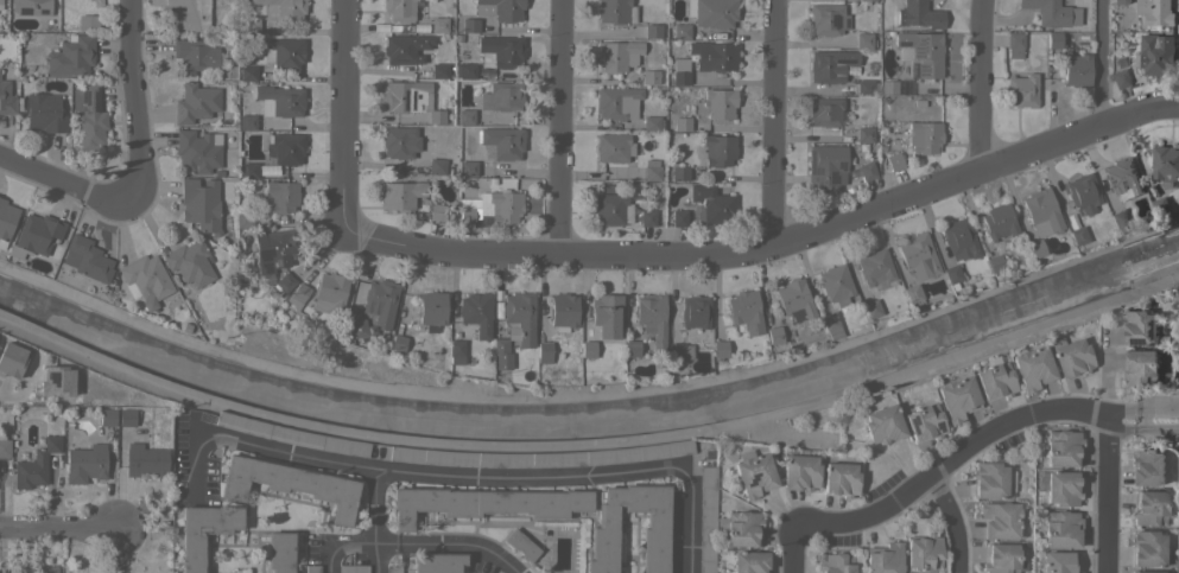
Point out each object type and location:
building: (869, 0)
building: (1121, 1)
building: (0, 5)
building: (31, 7)
building: (500, 8)
building: (283, 9)
building: (399, 9)
rooftop solar panel: (43, 11)
building: (615, 11)
building: (1052, 12)
building: (1154, 12)
rooftop solar panel: (25, 13)
building: (714, 13)
building: (919, 14)
building: (188, 15)
building: (826, 19)
rooftop solar panel: (833, 20)
building: (87, 21)
building: (438, 24)
rooftop solar panel: (849, 24)
building: (468, 25)
building: (251, 26)
building: (652, 31)
building: (680, 31)
building: (1052, 39)
building: (863, 40)
building: (1013, 44)
rooftop solar panel: (905, 45)
building: (405, 47)
rooftop solar panel: (921, 49)
building: (500, 51)
building: (284, 52)
building: (920, 52)
building: (616, 55)
building: (1155, 55)
building: (71, 56)
building: (195, 56)
building: (712, 56)
rooftop solar panel: (842, 59)
rooftop solar panel: (401, 61)
road: (1097, 64)
building: (830, 65)
building: (439, 70)
building: (1076, 70)
building: (464, 71)
building: (680, 71)
rooftop solar panel: (925, 71)
building: (247, 72)
building: (649, 77)
building: (1118, 78)
road: (981, 85)
building: (867, 87)
building: (887, 87)
building: (1020, 90)
building: (404, 96)
rooftop solar panel: (405, 96)
building: (501, 96)
rooftop solar panel: (419, 97)
building: (6, 98)
rooftop solar panel: (412, 98)
road: (131, 100)
building: (279, 100)
building: (616, 102)
building: (195, 103)
building: (720, 103)
building: (824, 112)
building: (44, 113)
road: (340, 114)
building: (89, 115)
building: (436, 116)
building: (465, 116)
building: (247, 122)
building: (651, 123)
building: (682, 123)
road: (772, 126)
road: (559, 127)
building: (864, 134)
building: (924, 136)
building: (399, 141)
building: (501, 142)
building: (613, 147)
rooftop solar panel: (863, 147)
building: (284, 148)
building: (718, 149)
building: (196, 152)
rooftop solar panel: (842, 161)
building: (893, 161)
building: (1165, 163)
rooftop solar panel: (811, 165)
building: (436, 166)
building: (468, 167)
building: (825, 167)
building: (248, 170)
building: (867, 171)
building: (652, 173)
building: (679, 173)
rooftop solar panel: (831, 177)
building: (1122, 177)
rooftop solar panel: (818, 183)
road: (63, 184)
building: (1083, 193)
building: (400, 195)
building: (280, 196)
building: (201, 203)
building: (711, 203)
building: (503, 206)
building: (611, 206)
building: (1160, 206)
building: (436, 212)
building: (1041, 212)
building: (467, 216)
building: (647, 218)
building: (678, 218)
building: (1118, 218)
building: (243, 219)
building: (6, 221)
building: (999, 222)
building: (36, 234)
building: (1077, 235)
building: (958, 237)
building: (1035, 248)
building: (273, 250)
road: (769, 252)
rooftop solar panel: (271, 253)
building: (917, 254)
building: (85, 259)
building: (189, 262)
building: (994, 263)
building: (875, 267)
building: (951, 274)
building: (145, 278)
building: (284, 284)
building: (835, 284)
building: (329, 292)
building: (912, 293)
building: (297, 295)
building: (794, 300)
building: (380, 301)
building: (870, 308)
building: (432, 310)
building: (563, 311)
building: (744, 311)
building: (695, 312)
building: (476, 313)
building: (520, 316)
building: (606, 316)
building: (652, 321)
building: (830, 325)
building: (359, 327)
building: (1139, 329)
rooftop solar panel: (1158, 333)
building: (774, 335)
building: (398, 343)
rooftop solar panel: (1143, 343)
building: (632, 348)
building: (588, 349)
building: (720, 349)
building: (679, 351)
building: (544, 352)
building: (458, 354)
building: (501, 354)
building: (1071, 357)
building: (11, 359)
building: (1032, 368)
building: (1142, 369)
rooftop solar panel: (55, 377)
building: (55, 381)
building: (995, 381)
building: (957, 397)
building: (107, 416)
building: (126, 416)
building: (925, 422)
building: (882, 424)
building: (291, 435)
road: (977, 441)
building: (4, 446)
road: (590, 446)
building: (1061, 447)
building: (544, 454)
building: (144, 459)
building: (84, 463)
building: (34, 464)
building: (1146, 467)
building: (799, 472)
building: (754, 473)
road: (402, 475)
building: (839, 479)
rooftop solar panel: (753, 480)
building: (989, 480)
building: (290, 484)
building: (1061, 488)
road: (1107, 497)
building: (486, 503)
building: (1148, 507)
road: (689, 515)
building: (706, 518)
building: (999, 520)
road: (950, 522)
road: (373, 523)
building: (739, 528)
road: (59, 529)
building: (1060, 529)
building: (203, 531)
building: (654, 542)
road: (446, 543)
building: (521, 545)
road: (353, 547)
building: (1146, 547)
road: (795, 550)
building: (279, 552)
building: (924, 554)
building: (883, 558)
building: (1000, 558)
road: (331, 560)
building: (749, 561)
building: (437, 562)
building: (835, 562)
building: (1058, 562)
building: (311, 568)
building: (351, 568)
building: (46, 569)
building: (393, 569)
building: (1142, 572)

